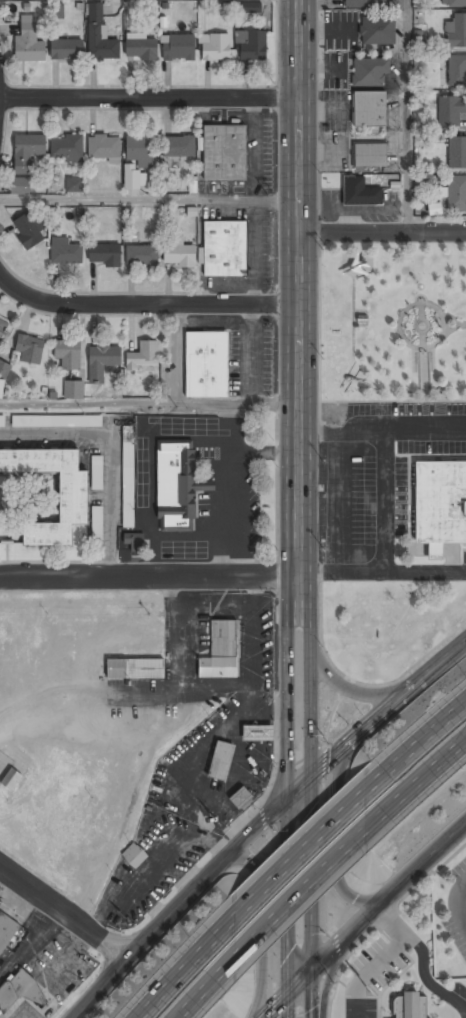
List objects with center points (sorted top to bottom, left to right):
building: (366, 3)
building: (456, 3)
building: (249, 10)
building: (56, 11)
building: (378, 30)
building: (456, 31)
building: (100, 35)
building: (29, 41)
building: (251, 45)
building: (215, 47)
building: (178, 48)
building: (66, 49)
building: (142, 49)
building: (457, 71)
building: (369, 72)
road: (148, 97)
building: (370, 109)
building: (452, 111)
road: (407, 116)
building: (179, 146)
building: (104, 147)
building: (66, 148)
building: (141, 149)
building: (27, 151)
building: (457, 152)
building: (225, 153)
building: (369, 155)
building: (133, 177)
building: (76, 185)
building: (20, 186)
building: (360, 192)
building: (456, 193)
road: (148, 200)
building: (30, 230)
road: (382, 233)
building: (225, 248)
building: (65, 251)
building: (105, 254)
building: (142, 255)
building: (179, 255)
road: (145, 305)
park: (393, 323)
building: (3, 327)
building: (30, 348)
building: (68, 354)
building: (143, 356)
building: (102, 360)
building: (206, 364)
building: (4, 373)
building: (74, 390)
road: (148, 402)
building: (2, 421)
building: (57, 421)
building: (98, 472)
building: (128, 475)
building: (178, 484)
parking lot: (381, 485)
building: (73, 497)
building: (441, 501)
road: (296, 508)
building: (96, 522)
building: (132, 543)
road: (148, 573)
building: (221, 650)
building: (136, 667)
road: (346, 687)
building: (257, 731)
road: (420, 736)
building: (221, 760)
building: (11, 778)
road: (420, 782)
traffic signals: (295, 791)
building: (241, 798)
road: (263, 823)
road: (334, 834)
road: (308, 838)
building: (134, 855)
road: (310, 886)
road: (460, 904)
road: (65, 914)
parking lot: (458, 914)
road: (363, 921)
road: (263, 926)
building: (6, 930)
road: (187, 961)
traffic signals: (296, 981)
road: (211, 983)
building: (20, 990)
building: (410, 1005)
road: (86, 1010)

